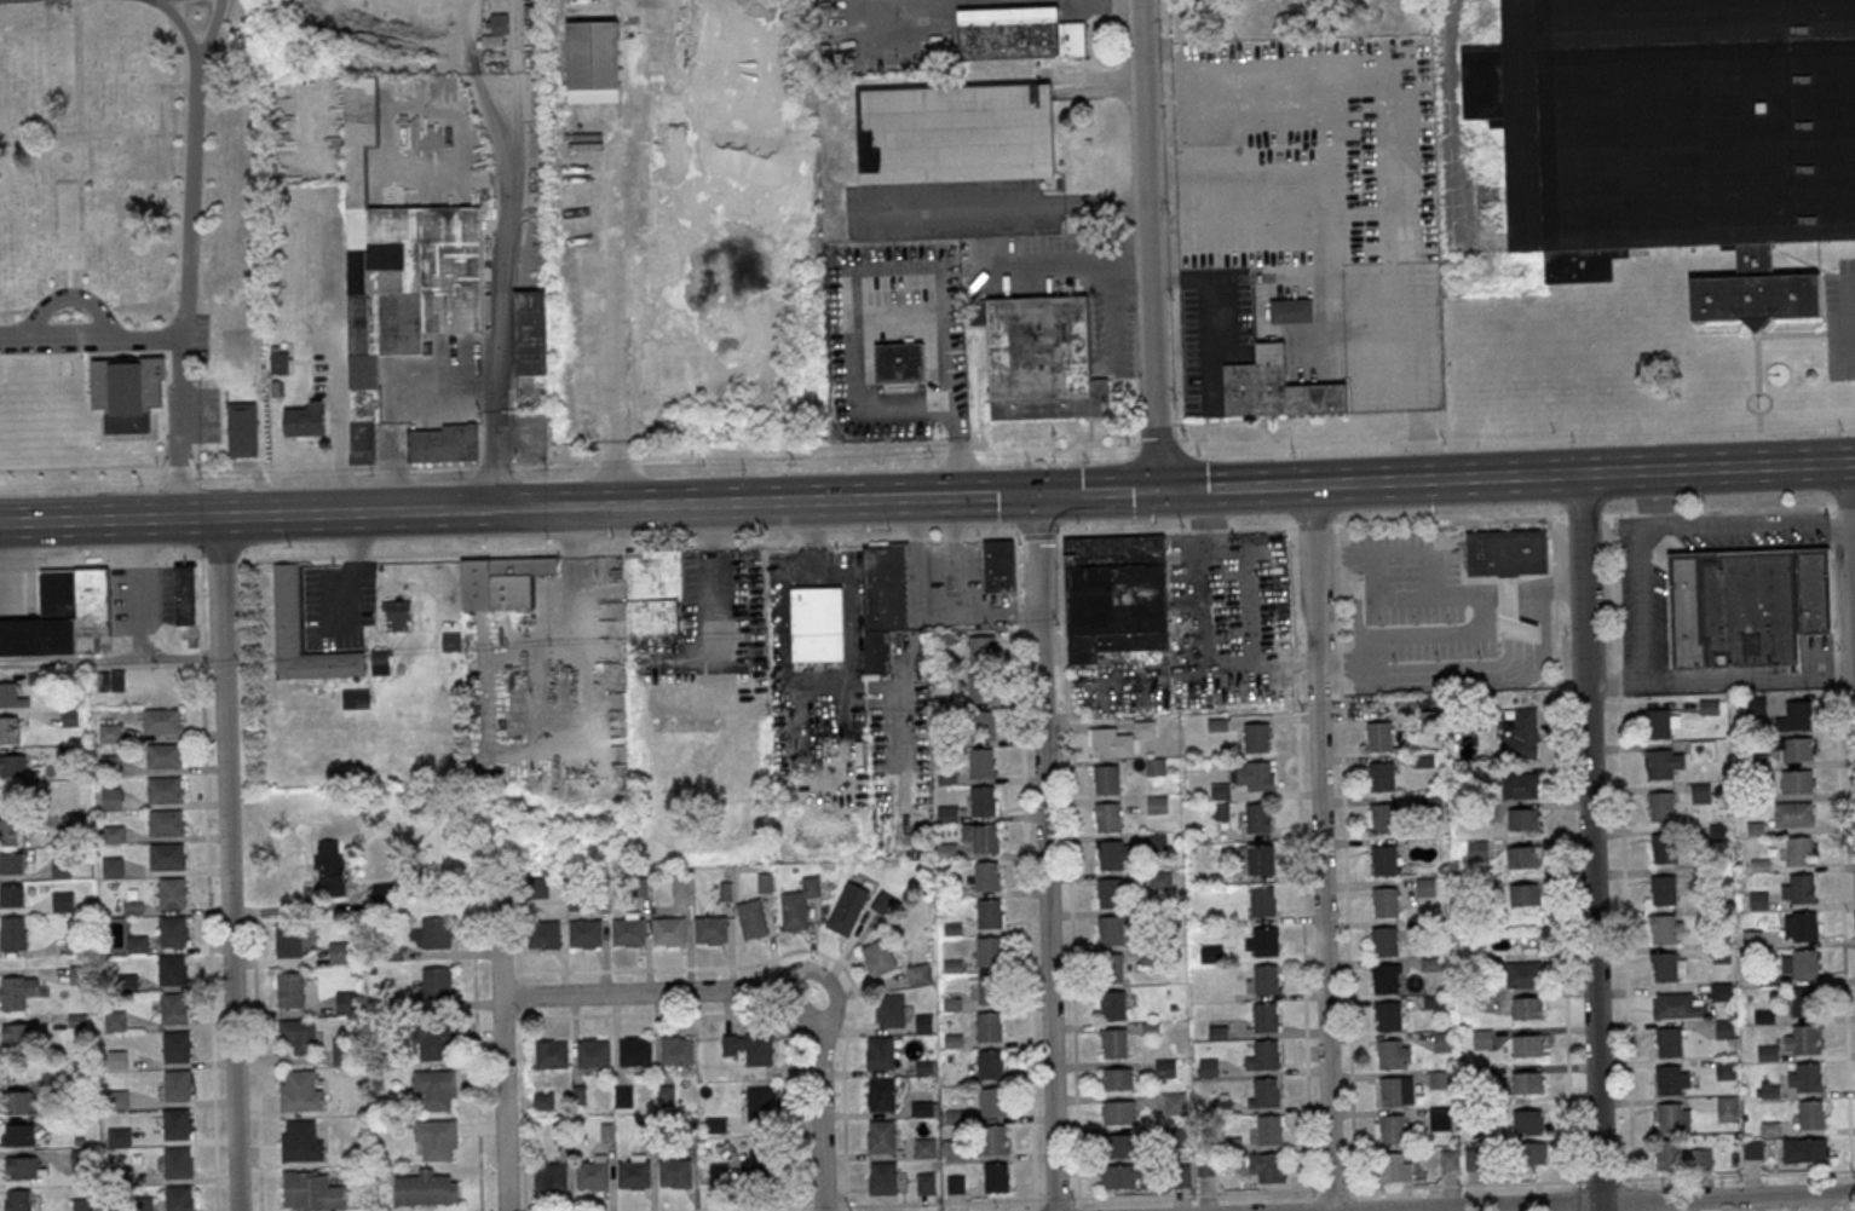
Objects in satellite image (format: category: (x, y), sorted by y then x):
road: (883, 2)
road: (180, 28)
building: (499, 28)
building: (1018, 31)
building: (593, 60)
building: (1683, 131)
building: (954, 132)
road: (1395, 138)
road: (1271, 179)
parking lot: (1318, 201)
road: (998, 207)
road: (1146, 244)
park: (131, 247)
road: (188, 256)
road: (1802, 261)
building: (65, 266)
road: (901, 270)
building: (398, 273)
road: (611, 273)
road: (1830, 276)
road: (1820, 277)
road: (1205, 279)
road: (1840, 282)
road: (68, 296)
road: (502, 310)
building: (1292, 310)
road: (1834, 313)
parking lot: (1840, 317)
road: (1845, 319)
building: (530, 331)
parking lot: (198, 334)
road: (1836, 334)
road: (1791, 335)
road: (91, 339)
road: (1837, 354)
building: (1041, 357)
road: (1757, 358)
building: (280, 359)
building: (899, 364)
building: (1277, 387)
building: (125, 392)
road: (394, 392)
road: (1747, 405)
parking lot: (206, 414)
building: (305, 420)
road: (340, 425)
road: (1758, 425)
building: (241, 428)
street lamp: (1843, 433)
building: (444, 443)
road: (1759, 451)
road: (1504, 475)
traffic signals: (1154, 490)
road: (1094, 491)
traffic signals: (1036, 494)
road: (517, 507)
road: (1059, 507)
road: (1456, 520)
road: (1723, 526)
street lamp: (893, 530)
road: (1038, 535)
street lamp: (613, 536)
road: (992, 537)
road: (866, 538)
road: (917, 538)
road: (934, 538)
road: (952, 538)
parking lot: (1751, 540)
road: (812, 542)
road: (761, 544)
road: (712, 546)
road: (532, 549)
road: (357, 555)
road: (289, 557)
road: (179, 561)
road: (220, 561)
road: (142, 563)
road: (83, 565)
road: (19, 566)
building: (999, 566)
building: (1508, 569)
road: (1851, 569)
building: (501, 581)
road: (1854, 581)
building: (653, 590)
road: (1552, 590)
building: (1116, 595)
road: (1513, 595)
road: (1482, 596)
road: (1493, 596)
parking lot: (1640, 598)
building: (286, 599)
building: (883, 601)
road: (1641, 604)
building: (186, 605)
parking lot: (334, 605)
building: (1746, 605)
building: (398, 613)
building: (62, 615)
parking lot: (713, 616)
road: (581, 621)
building: (451, 640)
building: (981, 650)
road: (110, 662)
building: (117, 679)
building: (103, 681)
road: (1721, 684)
building: (981, 687)
building: (11, 694)
building: (1756, 704)
building: (1796, 716)
building: (161, 720)
building: (1427, 721)
building: (1661, 722)
building: (981, 725)
building: (8, 728)
building: (110, 732)
building: (1521, 734)
building: (1379, 736)
building: (1256, 737)
building: (1111, 742)
building: (1796, 748)
building: (1703, 750)
building: (163, 755)
building: (110, 762)
building: (980, 762)
building: (1660, 763)
building: (12, 765)
building: (1258, 775)
building: (1382, 775)
building: (1106, 778)
building: (1798, 780)
building: (1520, 784)
building: (165, 789)
building: (1701, 794)
building: (110, 797)
building: (981, 800)
building: (1157, 803)
building: (1660, 806)
building: (1793, 813)
building: (1107, 817)
building: (1258, 817)
building: (1383, 818)
building: (1522, 819)
building: (166, 823)
building: (11, 831)
building: (984, 837)
road: (1839, 840)
building: (1157, 842)
road: (1591, 842)
road: (1320, 847)
building: (1476, 849)
building: (947, 850)
road: (1623, 850)
building: (1665, 850)
building: (1801, 850)
road: (1043, 852)
building: (1111, 854)
building: (167, 855)
building: (1522, 855)
building: (1262, 859)
building: (1383, 859)
building: (11, 861)
road: (226, 864)
road: (1070, 866)
building: (332, 867)
building: (985, 876)
building: (1160, 878)
road: (207, 886)
building: (1427, 886)
building: (537, 887)
building: (1803, 888)
building: (1664, 889)
building: (172, 892)
building: (384, 892)
building: (1110, 892)
building: (1525, 893)
building: (12, 894)
building: (1384, 900)
building: (881, 901)
building: (1262, 901)
building: (799, 904)
building: (848, 906)
road: (234, 910)
road: (253, 912)
building: (987, 912)
building: (751, 918)
building: (1805, 925)
building: (1666, 928)
building: (668, 929)
building: (710, 929)
building: (1111, 929)
building: (12, 932)
building: (174, 932)
building: (628, 932)
building: (433, 933)
building: (586, 933)
building: (543, 934)
building: (289, 940)
building: (1384, 940)
building: (1264, 941)
building: (1531, 941)
building: (987, 951)
building: (341, 952)
building: (877, 957)
building: (1805, 963)
building: (1666, 965)
building: (1110, 968)
building: (172, 969)
building: (917, 974)
building: (1523, 974)
building: (1386, 978)
building: (1267, 980)
building: (437, 982)
building: (990, 988)
building: (293, 990)
road: (754, 990)
building: (17, 991)
building: (1722, 991)
building: (1807, 999)
building: (346, 1002)
building: (1112, 1004)
building: (1677, 1005)
building: (1528, 1007)
building: (174, 1008)
building: (889, 1010)
building: (1388, 1015)
building: (1264, 1016)
building: (115, 1021)
building: (987, 1026)
building: (1724, 1028)
building: (17, 1033)
building: (298, 1034)
building: (433, 1039)
building: (1482, 1039)
building: (1805, 1039)
building: (1114, 1042)
building: (1444, 1042)
building: (1669, 1042)
building: (1527, 1044)
road: (501, 1045)
building: (177, 1046)
building: (750, 1046)
building: (676, 1050)
building: (341, 1051)
building: (635, 1051)
building: (593, 1053)
building: (880, 1053)
building: (1767, 1053)
building: (551, 1054)
building: (1267, 1054)
building: (1389, 1054)
road: (255, 1062)
building: (989, 1063)
building: (1165, 1067)
building: (1208, 1067)
building: (1726, 1067)
building: (1809, 1077)
building: (1117, 1078)
building: (1439, 1079)
building: (1672, 1079)
building: (1527, 1082)
building: (177, 1084)
building: (434, 1089)
building: (300, 1090)
building: (1267, 1091)
building: (1399, 1091)
building: (1768, 1091)
building: (881, 1094)
building: (623, 1095)
building: (21, 1101)
building: (992, 1101)
building: (761, 1102)
building: (1173, 1102)
building: (1727, 1107)
building: (922, 1108)
building: (1119, 1112)
building: (1811, 1113)
building: (1673, 1117)
building: (1441, 1118)
building: (1528, 1120)
building: (175, 1123)
building: (1269, 1129)
building: (1392, 1129)
building: (18, 1134)
building: (881, 1136)
building: (119, 1137)
building: (992, 1138)
building: (301, 1140)
building: (436, 1140)
building: (1119, 1144)
building: (924, 1147)
building: (1752, 1148)
building: (1804, 1149)
building: (1534, 1153)
building: (1681, 1155)
building: (1448, 1159)
building: (1473, 1159)
building: (79, 1160)
building: (178, 1161)
building: (22, 1166)
building: (755, 1166)
building: (1269, 1166)
building: (1395, 1166)
building: (675, 1172)
building: (634, 1173)
building: (592, 1175)
building: (549, 1176)
building: (996, 1176)
building: (1119, 1176)
building: (882, 1177)
building: (926, 1182)
road: (1464, 1183)
building: (956, 1184)
building: (425, 1188)
building: (311, 1190)
building: (180, 1198)
road: (1631, 1198)
building: (17, 1200)
road: (1609, 1203)
building: (82, 1204)
road: (871, 1205)

